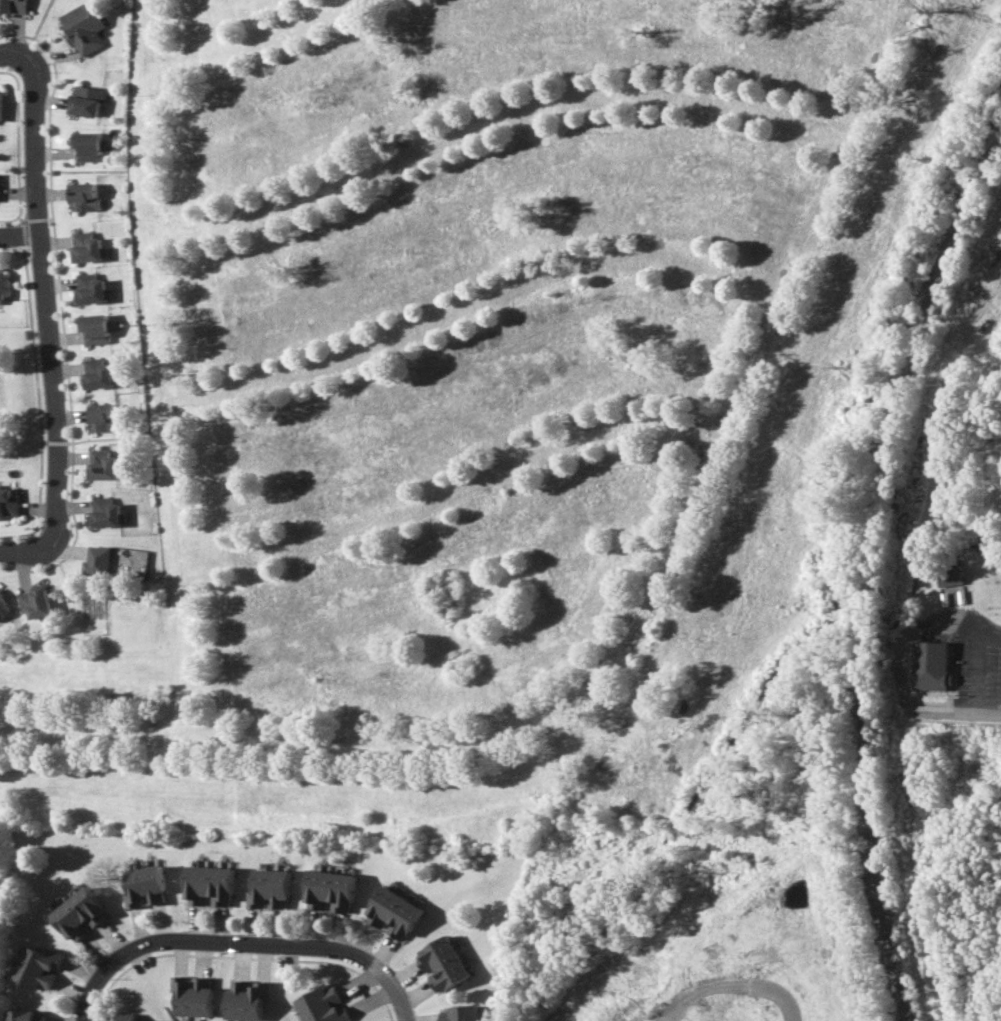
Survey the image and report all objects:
building: (13, 6)
building: (86, 23)
road: (251, 43)
road: (10, 58)
building: (83, 97)
building: (0, 98)
road: (496, 118)
building: (86, 141)
building: (83, 197)
road: (148, 201)
road: (19, 235)
building: (85, 247)
building: (1, 284)
building: (90, 289)
road: (45, 306)
road: (479, 306)
building: (94, 328)
building: (96, 374)
park: (14, 402)
building: (103, 417)
building: (100, 465)
road: (456, 496)
building: (7, 503)
road: (19, 553)
building: (95, 561)
road: (186, 568)
railway: (873, 572)
building: (949, 575)
building: (34, 601)
building: (2, 606)
road: (646, 637)
building: (930, 665)
road: (957, 713)
building: (208, 885)
building: (143, 888)
building: (270, 888)
building: (330, 890)
building: (393, 912)
building: (79, 917)
road: (243, 942)
building: (443, 964)
building: (37, 969)
road: (733, 979)
building: (192, 995)
building: (244, 999)
building: (321, 1005)
building: (460, 1013)
building: (25, 1015)
building: (127, 1017)

